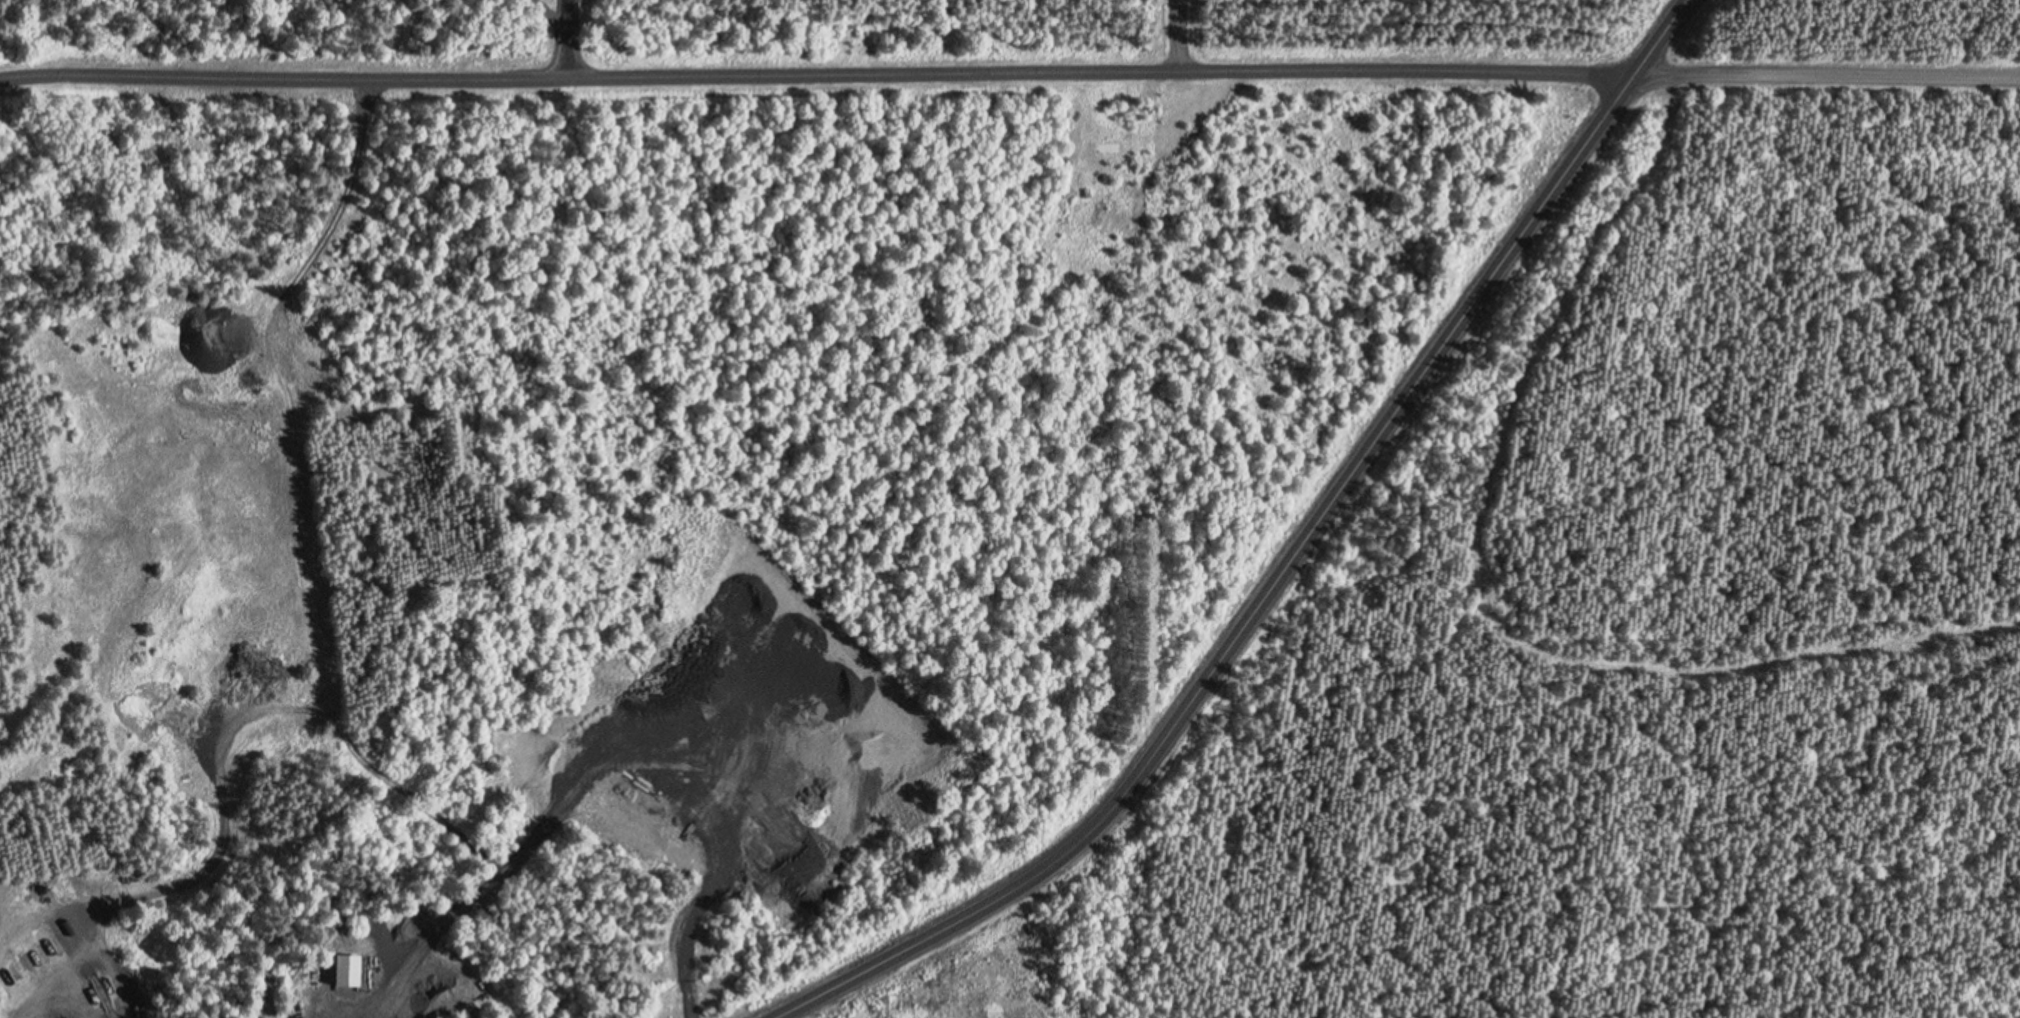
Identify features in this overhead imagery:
road: (1180, 37)
road: (569, 40)
road: (815, 78)
road: (1825, 81)
park: (697, 529)
road: (1280, 567)
road: (72, 936)
building: (344, 970)

